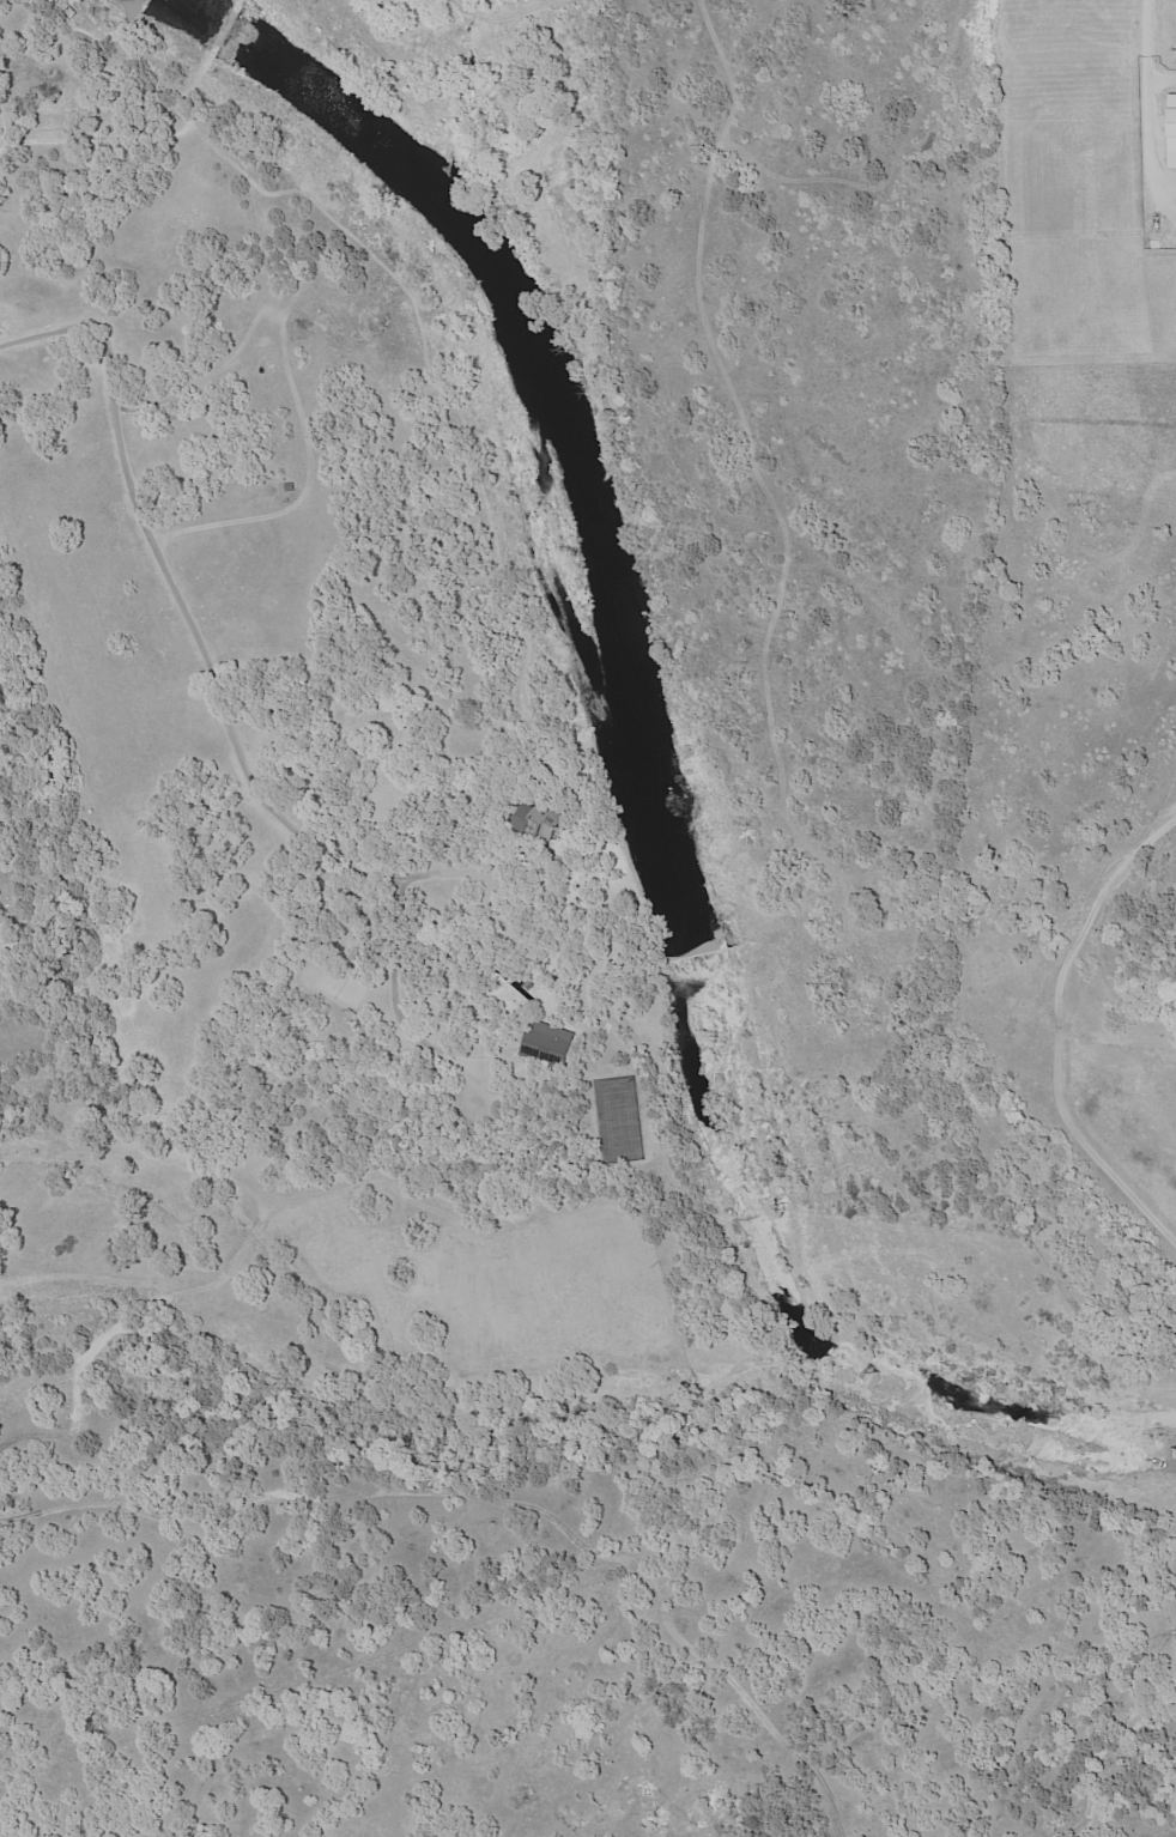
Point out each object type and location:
road: (1147, 48)
building: (1171, 133)
building: (292, 487)
road: (219, 702)
building: (537, 820)
building: (0, 836)
building: (548, 1045)

